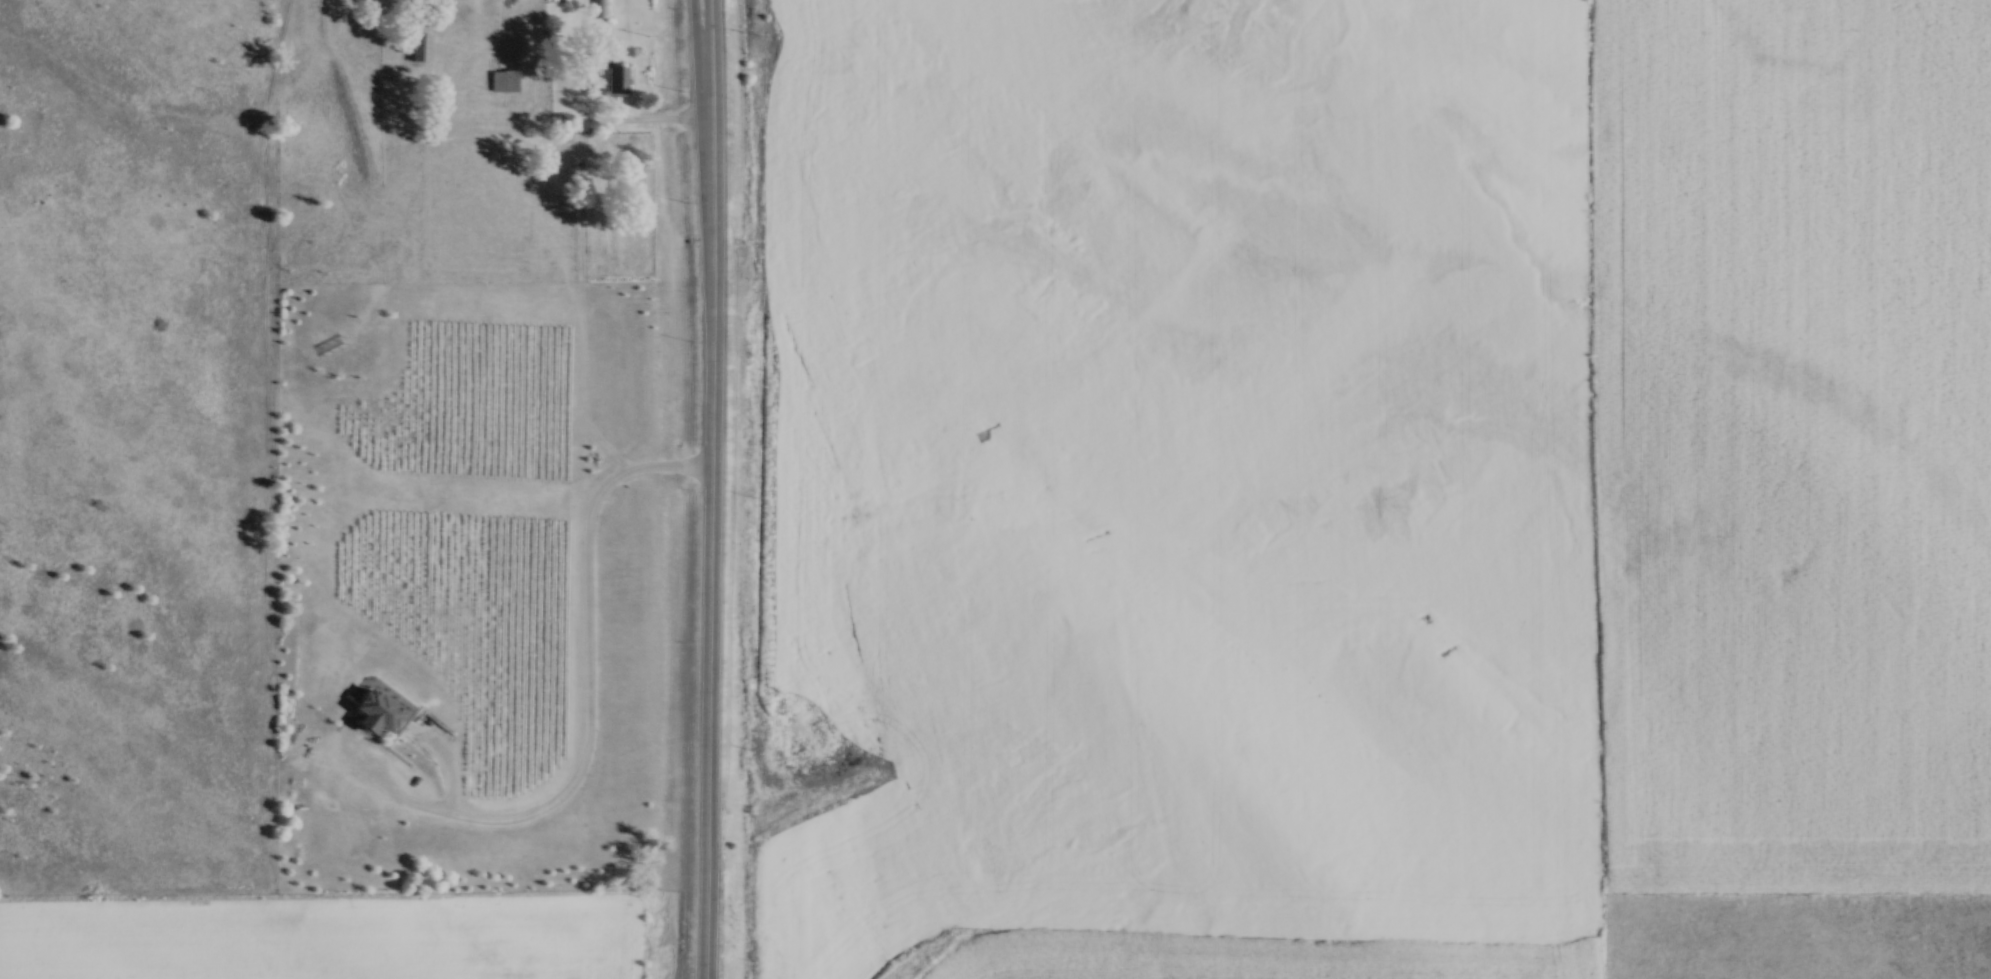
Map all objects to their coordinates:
building: (600, 8)
road: (703, 27)
building: (418, 46)
building: (616, 78)
building: (501, 80)
road: (628, 125)
road: (713, 489)

